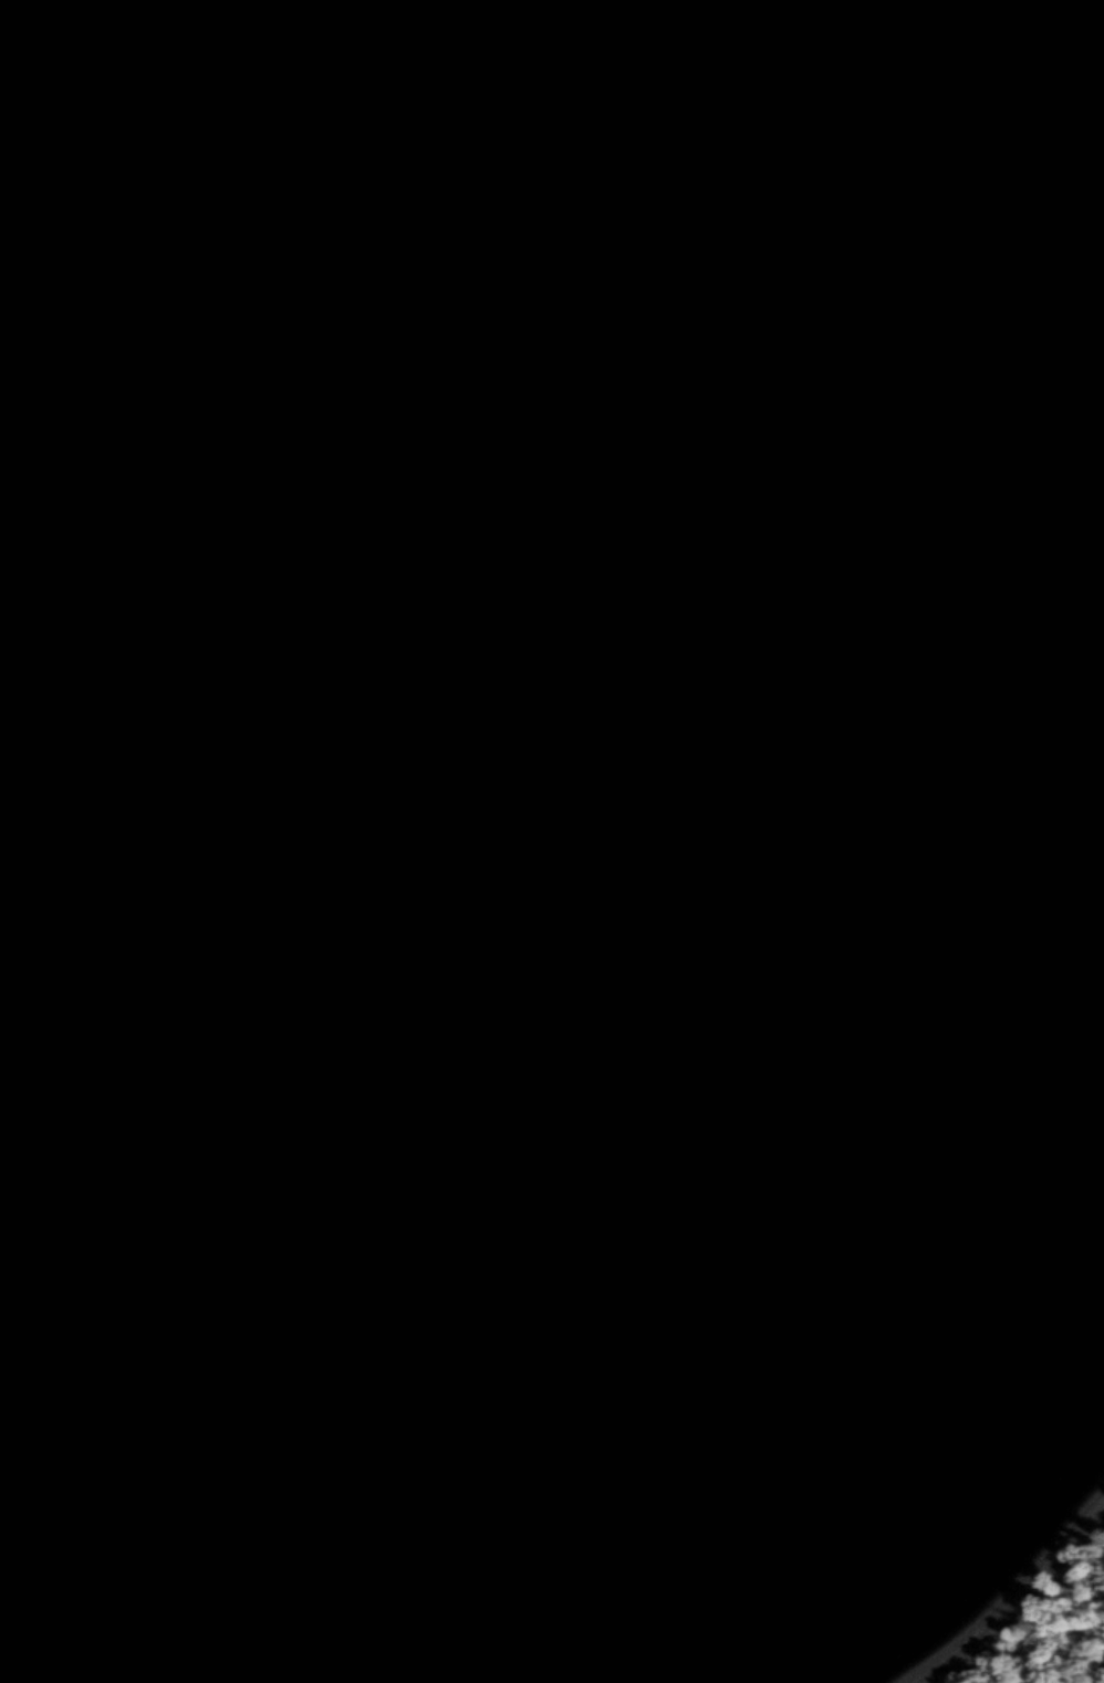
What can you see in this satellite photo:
park: (1021, 1608)

